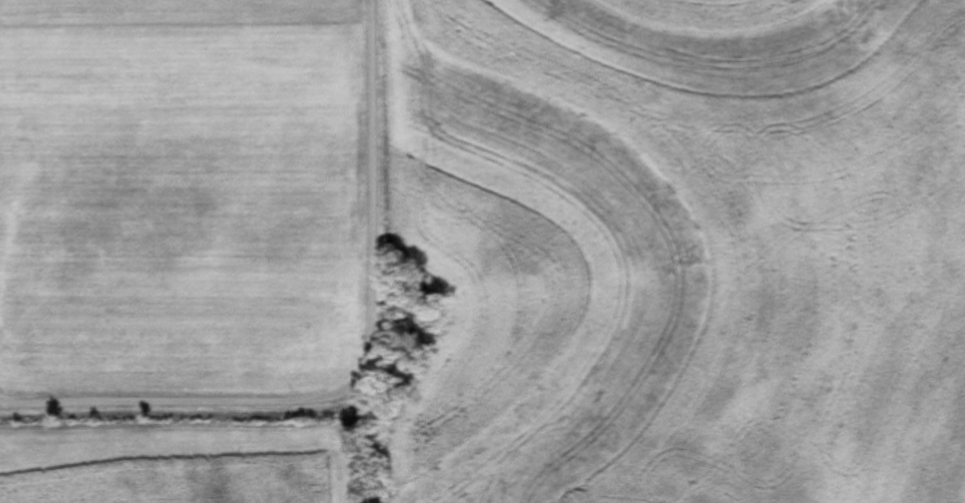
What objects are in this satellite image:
road: (359, 372)

